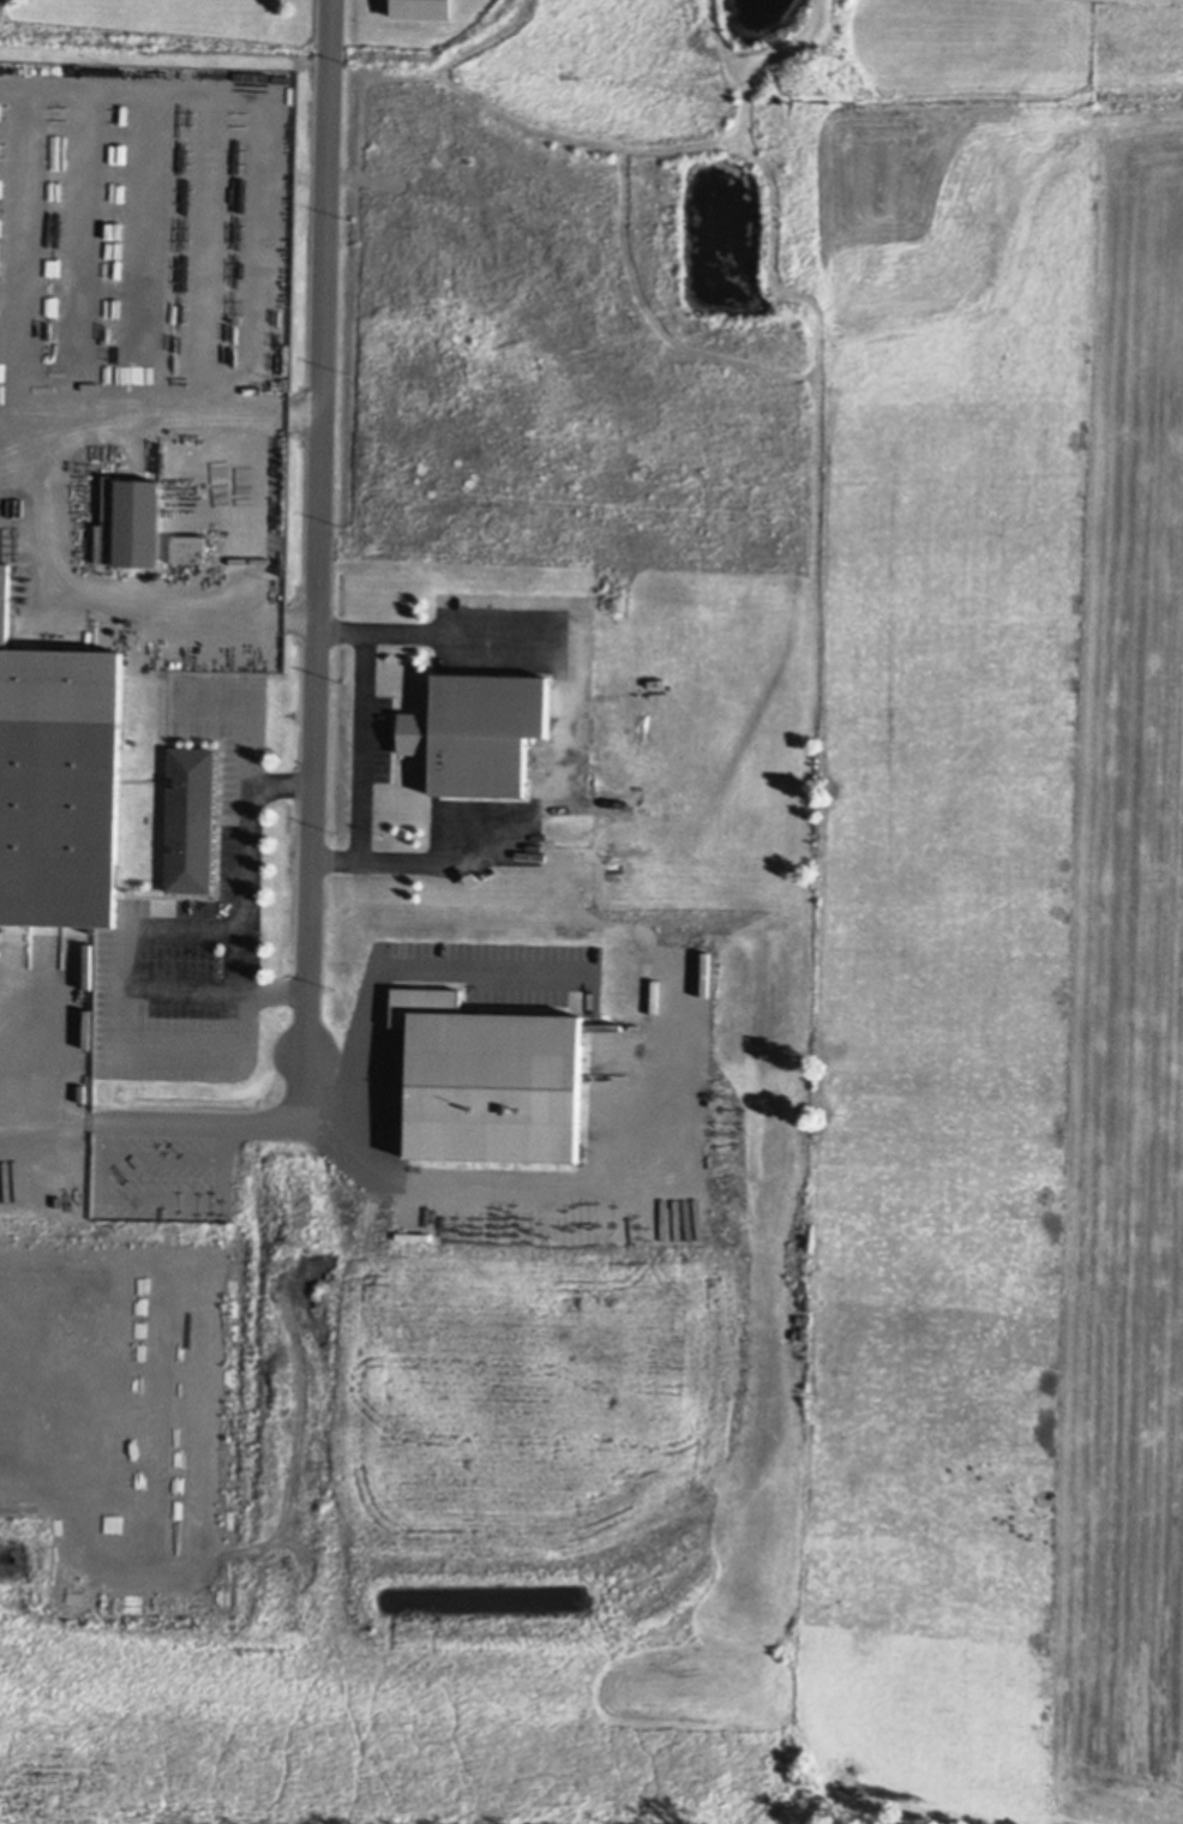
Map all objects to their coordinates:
building: (136, 522)
building: (4, 602)
road: (421, 634)
road: (310, 679)
building: (476, 732)
road: (359, 744)
road: (244, 746)
road: (275, 781)
building: (59, 821)
building: (188, 854)
road: (404, 856)
building: (470, 878)
road: (210, 979)
road: (187, 1038)
road: (331, 1075)
road: (365, 1136)
crop: (421, 1402)

